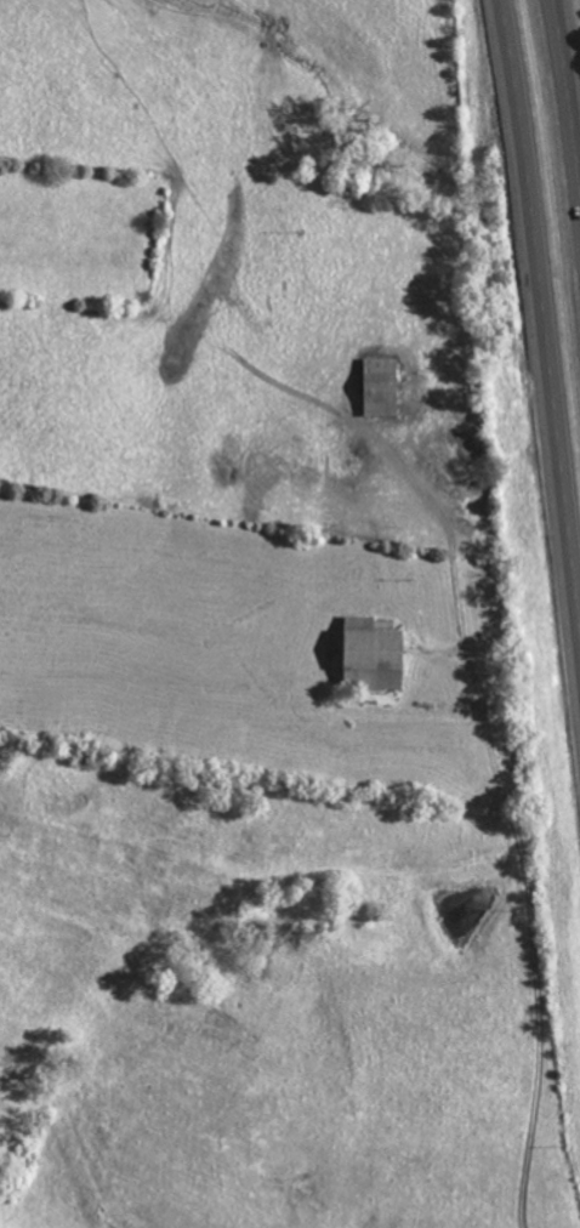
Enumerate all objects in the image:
road: (568, 102)
crop: (80, 235)
road: (542, 319)
building: (382, 385)
road: (516, 829)

